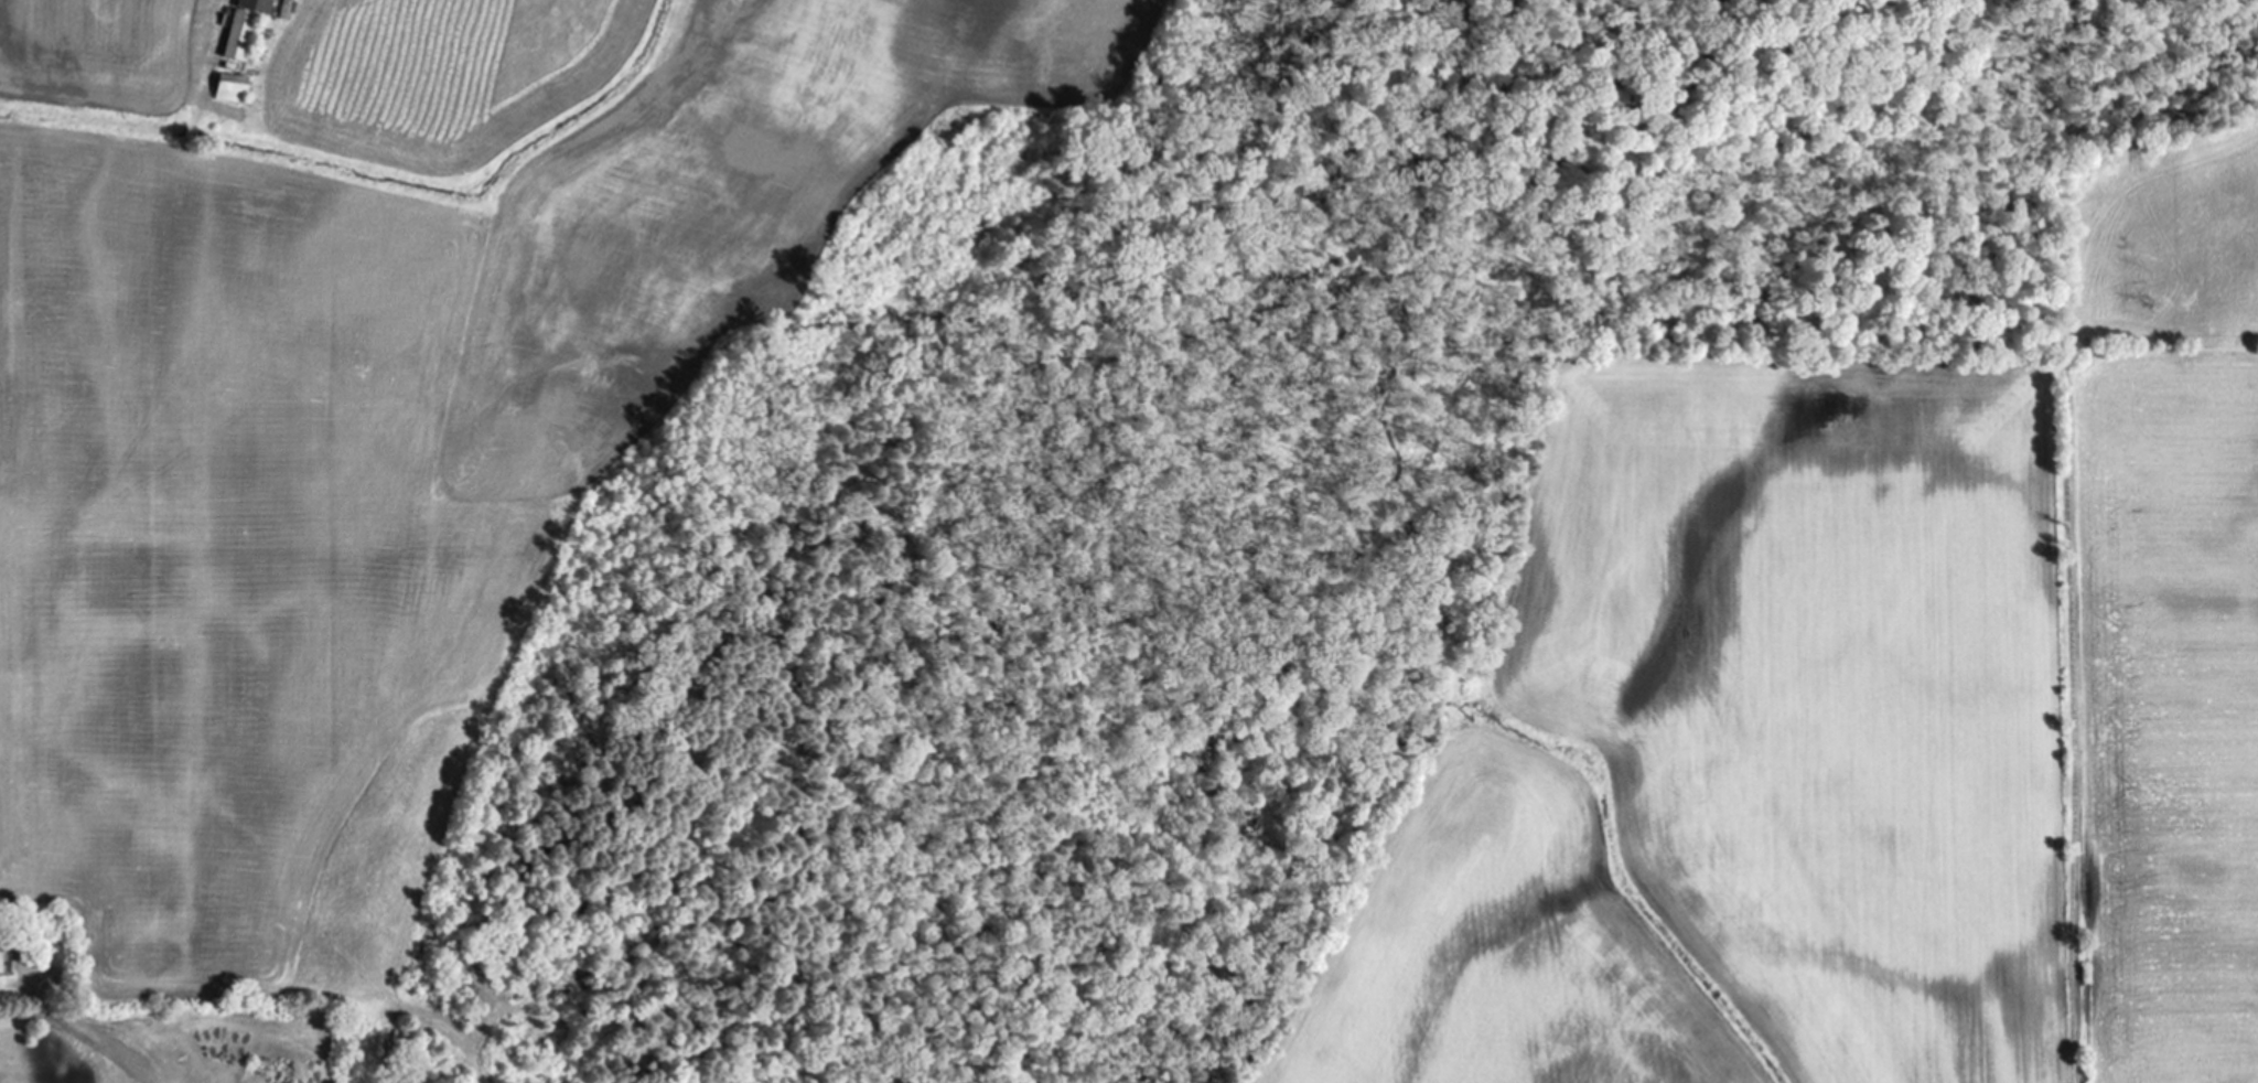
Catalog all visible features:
building: (247, 26)
building: (233, 88)
building: (1, 955)

